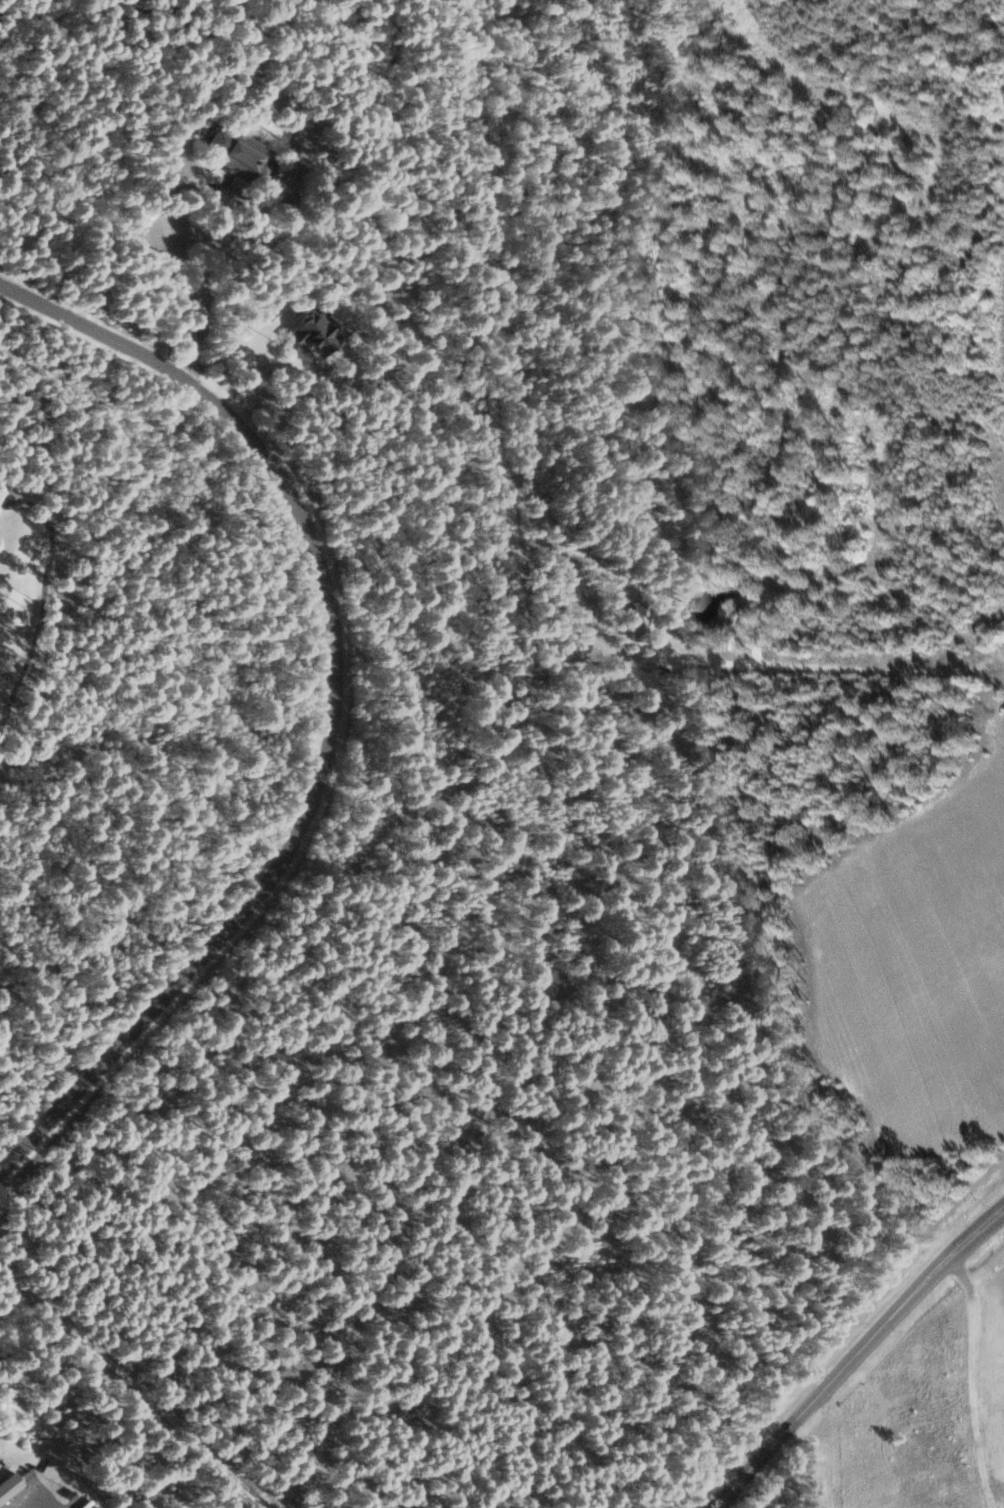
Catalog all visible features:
building: (240, 155)
road: (167, 199)
building: (313, 333)
park: (31, 589)
building: (639, 619)
road: (496, 699)
road: (337, 705)
road: (859, 1353)
building: (9, 1484)

